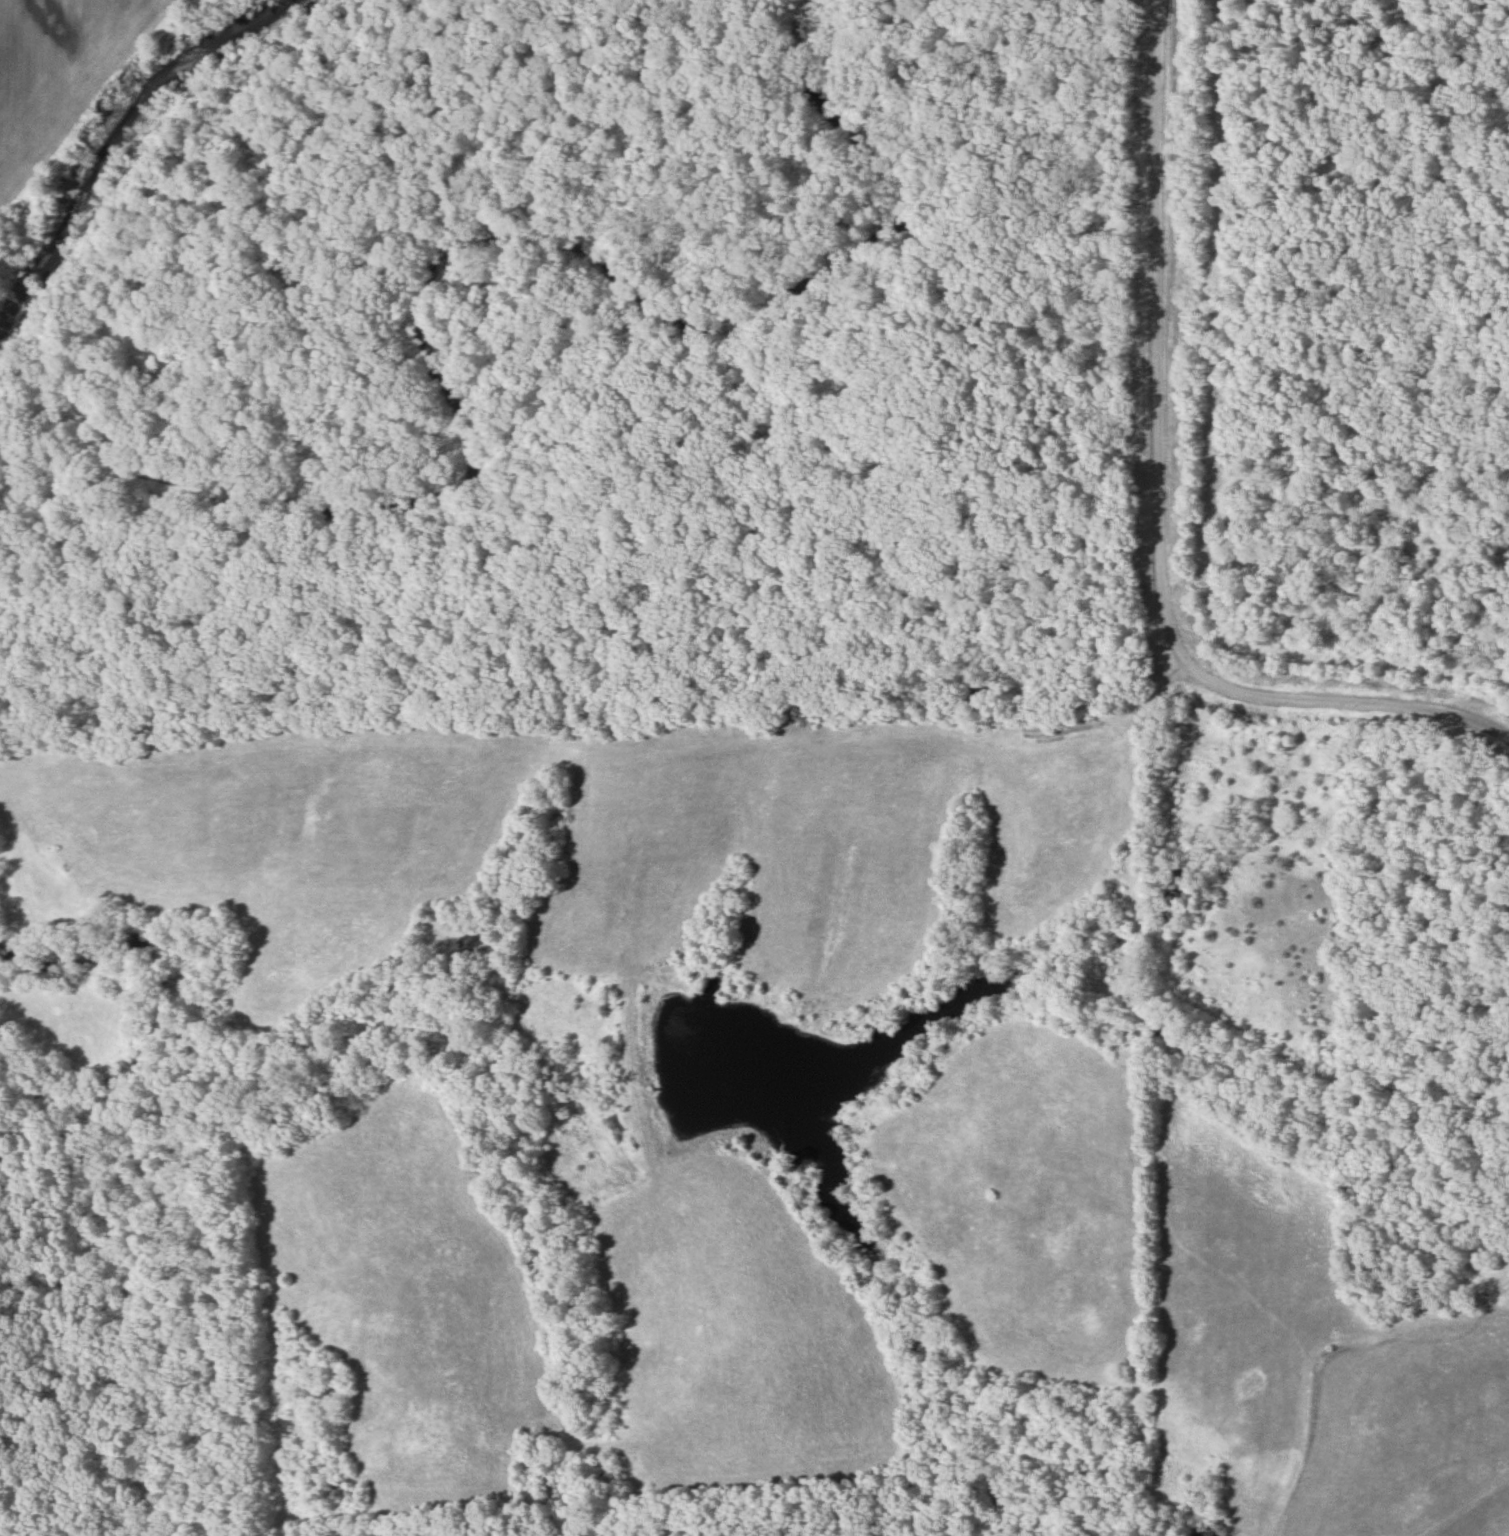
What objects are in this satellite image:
road: (1157, 503)

